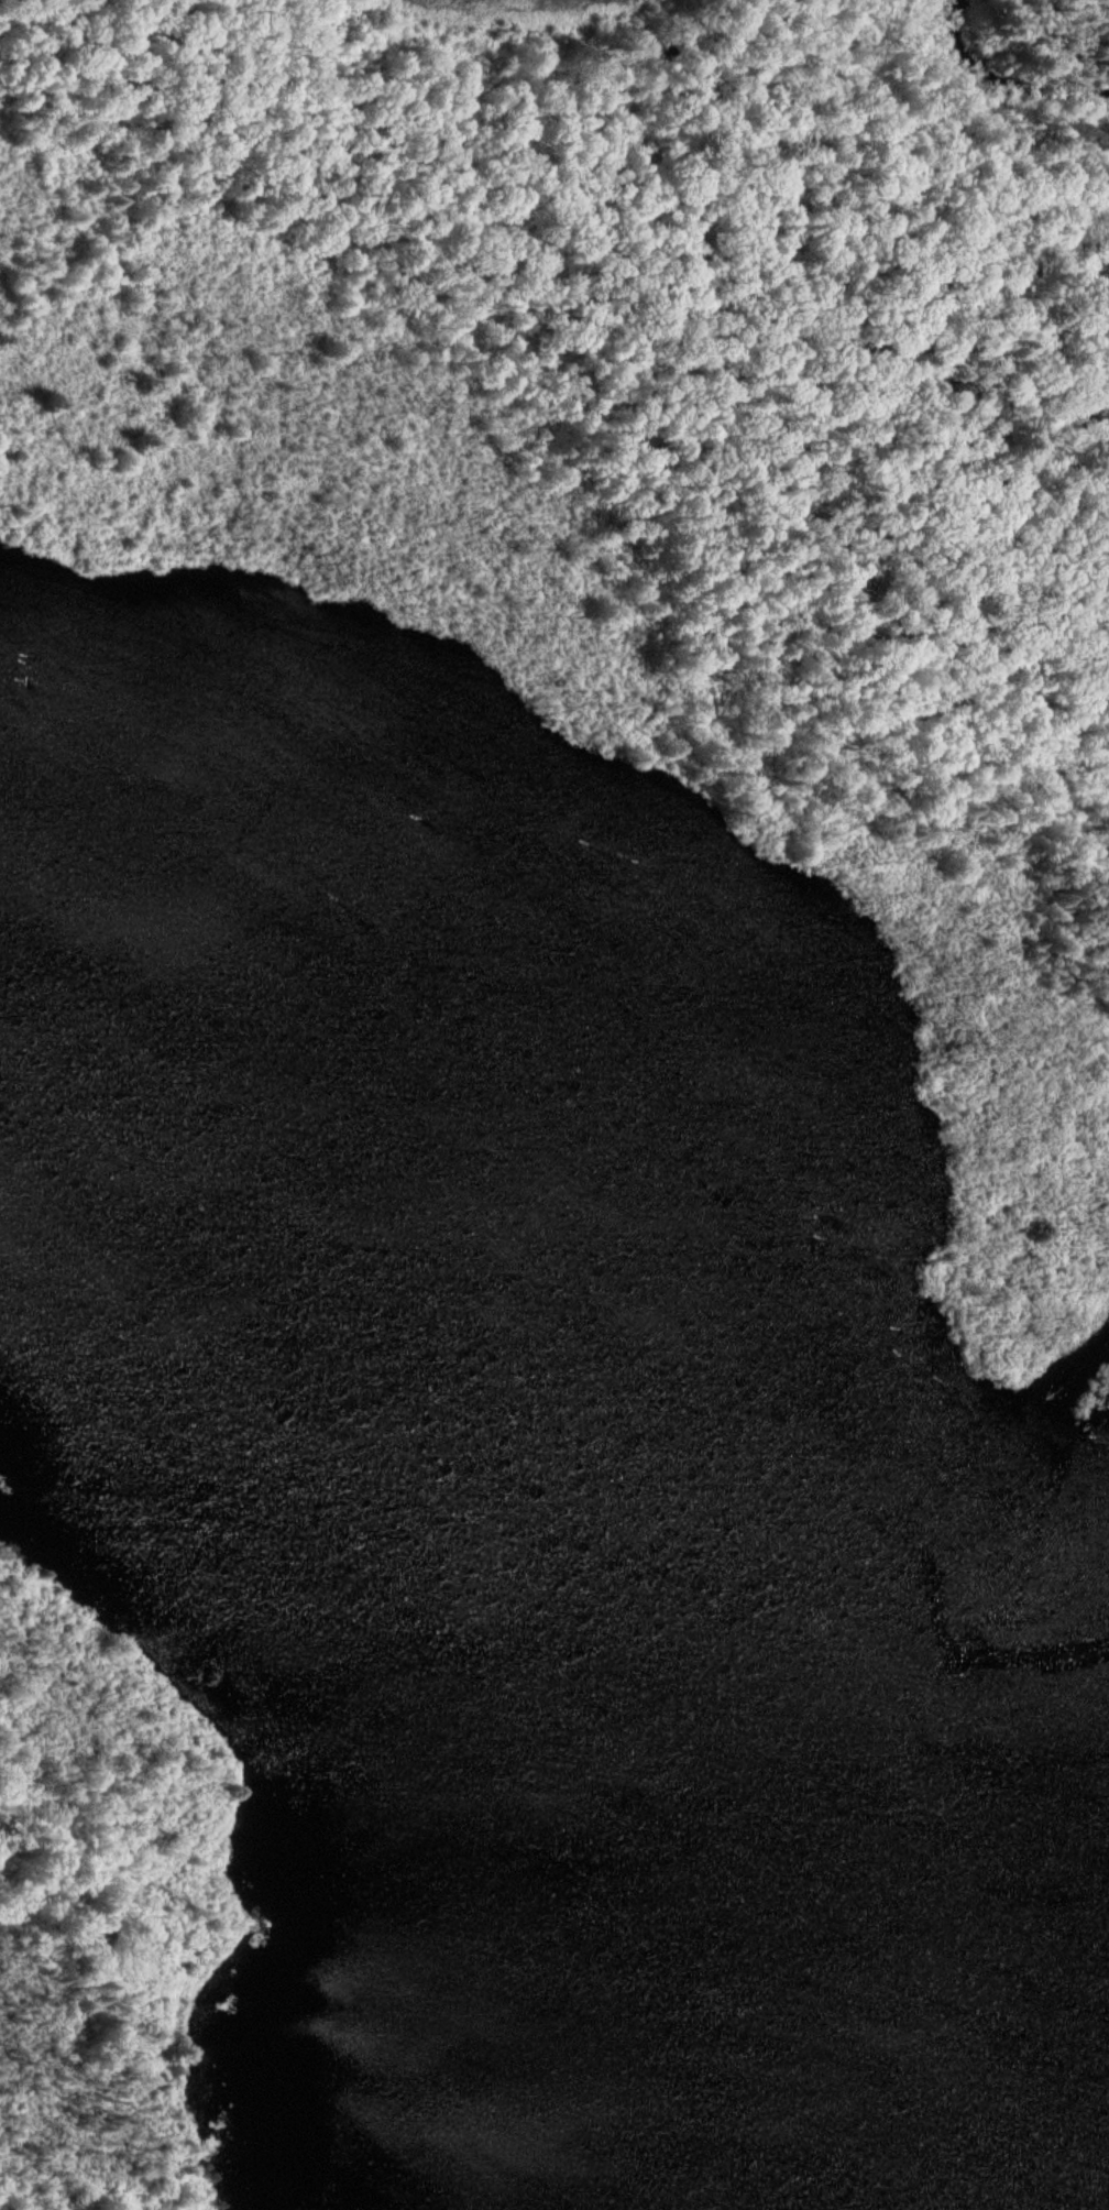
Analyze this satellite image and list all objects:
river: (607, 1517)

